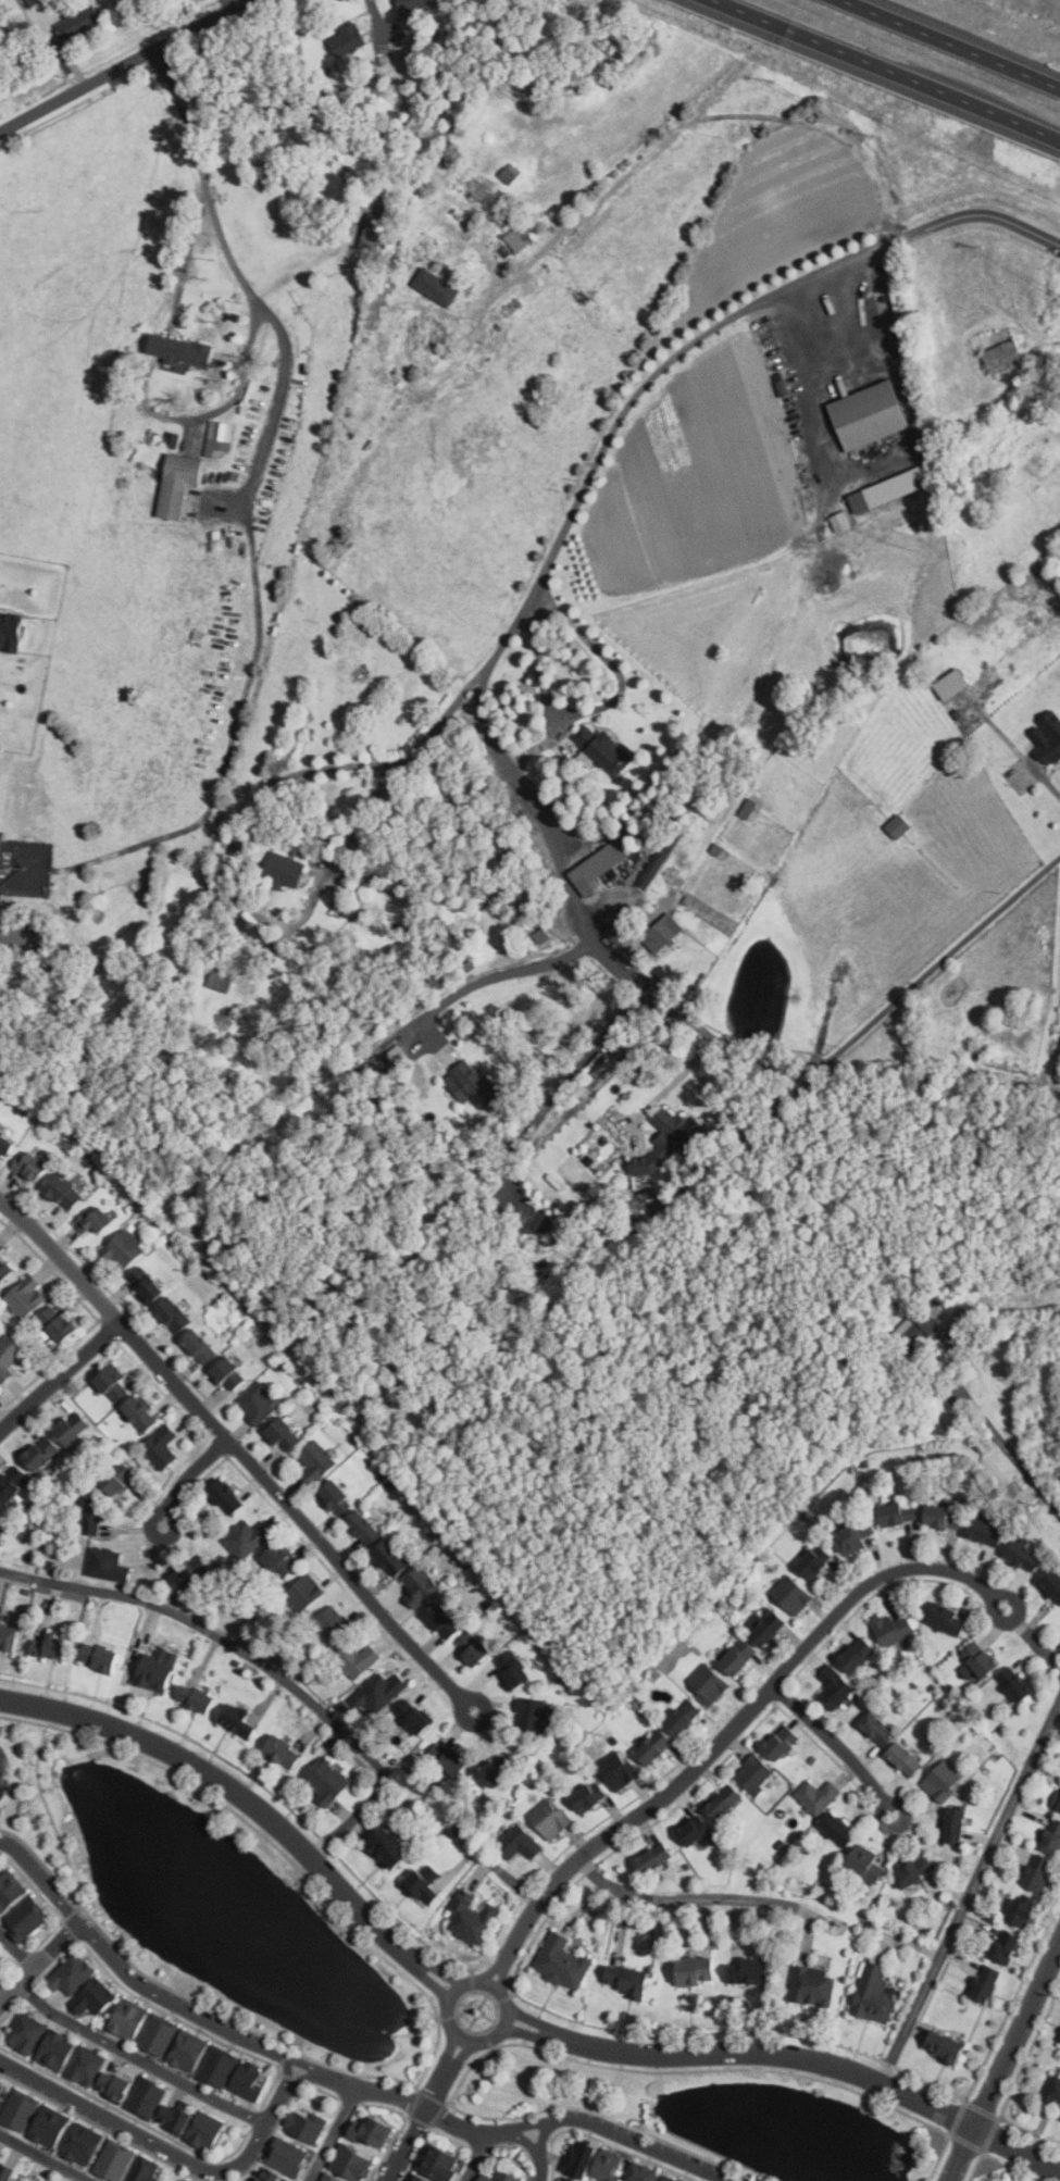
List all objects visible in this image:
building: (33, 1)
building: (22, 2)
building: (413, 3)
building: (78, 22)
building: (348, 38)
road: (950, 46)
building: (499, 57)
road: (119, 63)
road: (889, 70)
building: (348, 91)
road: (695, 114)
building: (510, 173)
building: (365, 232)
building: (375, 232)
building: (517, 238)
building: (397, 239)
building: (506, 250)
building: (370, 261)
road: (245, 282)
building: (438, 286)
building: (376, 307)
road: (1045, 335)
building: (182, 349)
road: (845, 349)
building: (1006, 356)
building: (932, 410)
building: (871, 415)
building: (220, 436)
building: (175, 439)
road: (881, 463)
building: (236, 475)
building: (180, 483)
building: (894, 488)
building: (841, 521)
road: (533, 595)
building: (11, 631)
building: (955, 683)
building: (960, 714)
road: (481, 718)
building: (1049, 737)
building: (603, 749)
road: (1024, 758)
road: (399, 767)
building: (750, 808)
building: (899, 826)
building: (236, 848)
building: (719, 848)
building: (600, 867)
building: (286, 870)
building: (690, 899)
building: (663, 933)
building: (544, 936)
building: (471, 964)
road: (499, 972)
building: (223, 979)
building: (1059, 1049)
building: (982, 1050)
building: (401, 1056)
road: (672, 1082)
building: (473, 1084)
building: (672, 1141)
building: (5, 1142)
building: (30, 1166)
building: (64, 1193)
building: (610, 1217)
building: (95, 1220)
building: (1, 1247)
building: (124, 1249)
building: (4, 1272)
building: (148, 1285)
building: (26, 1295)
building: (174, 1313)
building: (59, 1321)
building: (916, 1329)
building: (199, 1345)
building: (8, 1358)
building: (875, 1363)
building: (227, 1372)
road: (59, 1375)
building: (113, 1382)
building: (259, 1401)
building: (141, 1412)
building: (73, 1428)
building: (285, 1434)
building: (161, 1446)
road: (237, 1451)
building: (42, 1453)
building: (315, 1461)
building: (117, 1476)
road: (188, 1480)
building: (12, 1483)
building: (226, 1495)
building: (337, 1497)
building: (898, 1512)
building: (945, 1516)
building: (92, 1517)
building: (2, 1526)
building: (363, 1526)
building: (987, 1531)
building: (855, 1536)
building: (247, 1537)
building: (1024, 1555)
building: (390, 1557)
building: (280, 1560)
building: (813, 1561)
building: (107, 1565)
building: (188, 1572)
building: (1052, 1584)
building: (421, 1586)
building: (304, 1593)
building: (793, 1594)
building: (945, 1616)
building: (442, 1620)
building: (332, 1624)
building: (768, 1628)
building: (893, 1629)
building: (9, 1636)
road: (1032, 1636)
building: (52, 1646)
building: (473, 1648)
building: (858, 1655)
building: (100, 1656)
building: (739, 1657)
building: (358, 1659)
building: (982, 1659)
road: (262, 1663)
building: (157, 1669)
building: (513, 1671)
building: (709, 1683)
building: (1017, 1683)
building: (835, 1687)
building: (379, 1691)
building: (197, 1698)
building: (531, 1713)
building: (414, 1716)
building: (684, 1717)
road: (741, 1719)
building: (239, 1720)
building: (878, 1728)
building: (783, 1742)
road: (836, 1744)
building: (656, 1746)
building: (284, 1750)
building: (449, 1758)
building: (906, 1758)
building: (616, 1769)
building: (495, 1770)
building: (756, 1773)
building: (327, 1780)
building: (944, 1780)
road: (227, 1785)
building: (816, 1795)
building: (587, 1797)
building: (725, 1800)
building: (1059, 1807)
building: (549, 1818)
building: (956, 1824)
building: (839, 1829)
building: (695, 1830)
building: (1052, 1836)
building: (519, 1842)
building: (390, 1847)
building: (654, 1858)
building: (866, 1864)
building: (913, 1871)
building: (1039, 1872)
building: (424, 1883)
building: (10, 1890)
road: (970, 1892)
road: (689, 1898)
building: (1021, 1910)
building: (1011, 1912)
building: (27, 1917)
building: (471, 1918)
building: (1005, 1946)
road: (17, 1951)
building: (562, 1961)
road: (40, 1965)
road: (436, 1968)
road: (496, 1969)
building: (697, 1970)
building: (750, 1971)
road: (502, 1972)
building: (71, 1973)
road: (425, 1977)
building: (627, 1980)
road: (138, 1983)
building: (987, 1983)
building: (813, 1985)
road: (2, 1994)
building: (875, 1994)
building: (95, 1997)
building: (128, 2019)
road: (537, 2023)
building: (27, 2032)
building: (159, 2035)
road: (533, 2036)
road: (460, 2037)
building: (1058, 2040)
building: (946, 2046)
building: (57, 2051)
building: (189, 2051)
road: (450, 2051)
road: (460, 2055)
road: (140, 2059)
road: (824, 2065)
road: (1002, 2065)
building: (87, 2066)
building: (219, 2067)
road: (301, 2080)
building: (248, 2081)
building: (1, 2085)
building: (114, 2085)
building: (1053, 2095)
building: (147, 2097)
building: (1, 2103)
road: (424, 2108)
building: (20, 2109)
building: (175, 2118)
building: (305, 2124)
road: (420, 2126)
building: (51, 2127)
building: (207, 2131)
building: (371, 2132)
road: (332, 2135)
road: (631, 2140)
building: (83, 2144)
road: (171, 2152)
road: (538, 2156)
building: (288, 2157)
road: (477, 2157)
road: (41, 2158)
building: (578, 2158)
building: (114, 2160)
building: (444, 2161)
building: (351, 2163)
building: (608, 2166)
building: (145, 2170)
building: (8, 2171)
building: (643, 2172)
building: (270, 2176)
building: (499, 2177)
building: (329, 2178)
building: (412, 2178)
building: (423, 2178)
building: (672, 2178)
building: (176, 2179)
building: (182, 2179)
building: (664, 2179)

